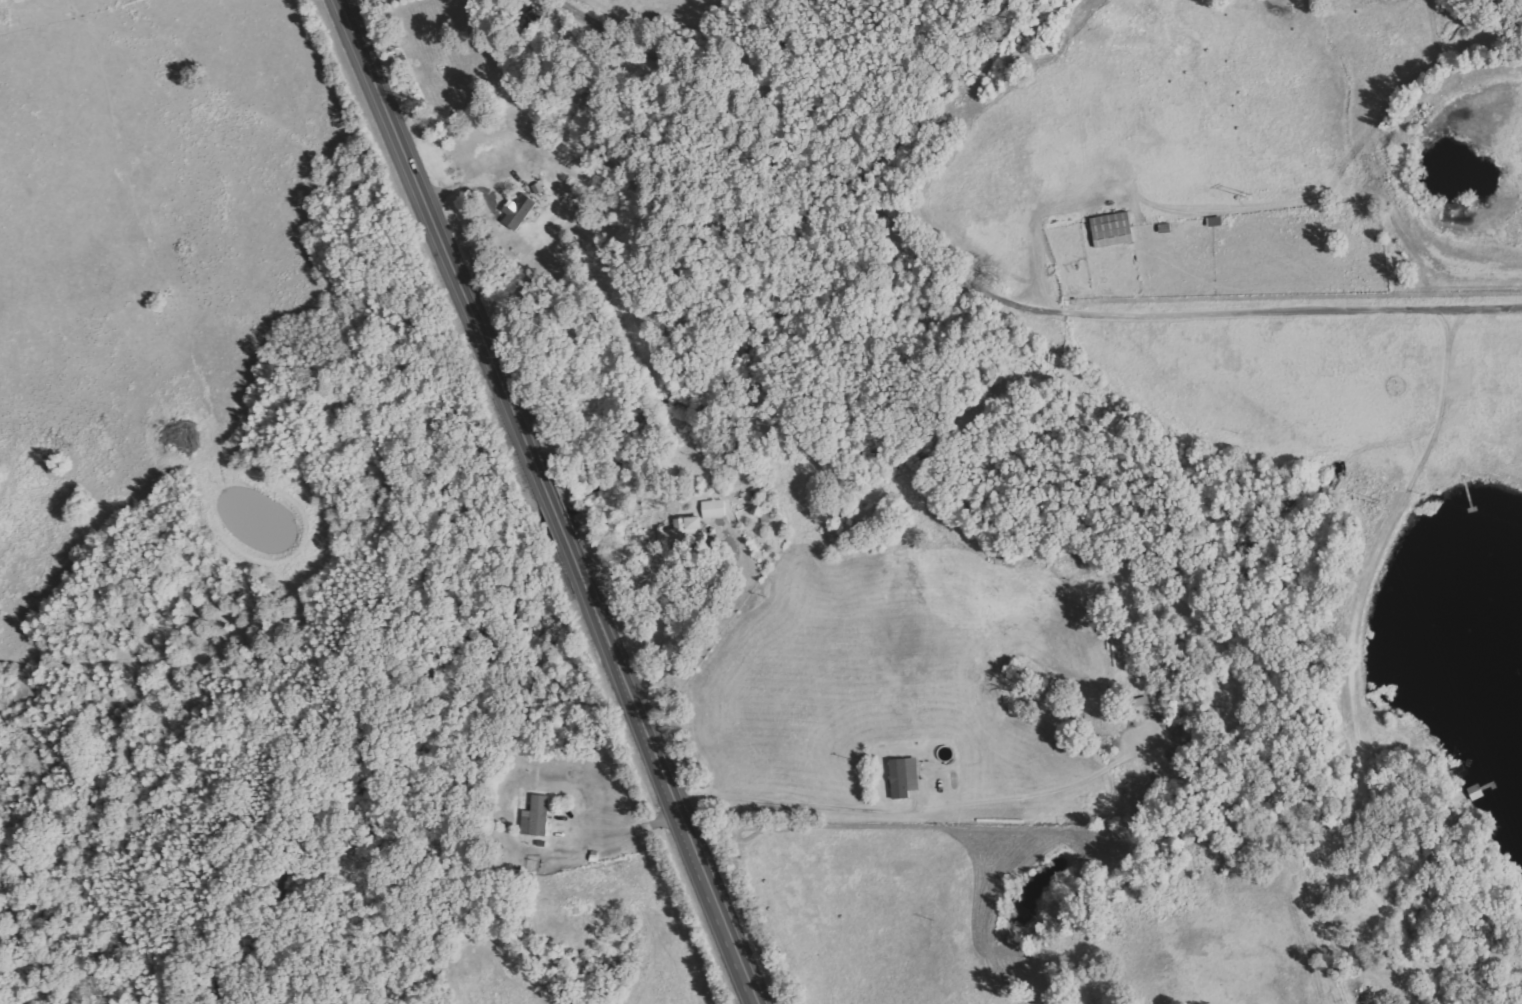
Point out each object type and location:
building: (518, 211)
building: (1110, 230)
road: (988, 296)
road: (559, 501)
building: (903, 777)
building: (535, 817)
road: (1000, 870)

